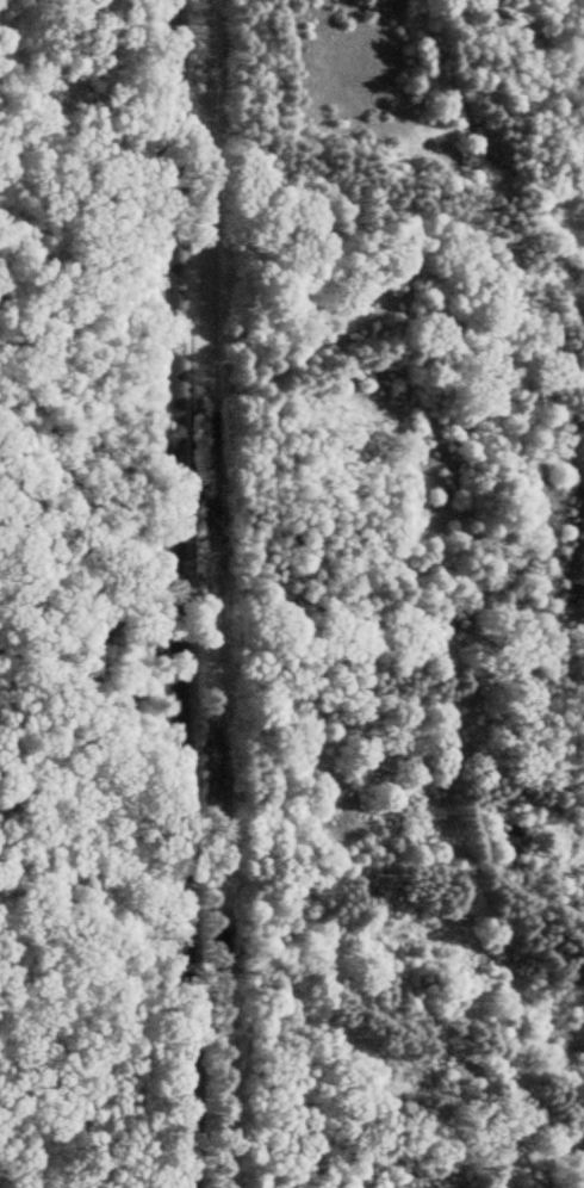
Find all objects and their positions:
road: (178, 593)

